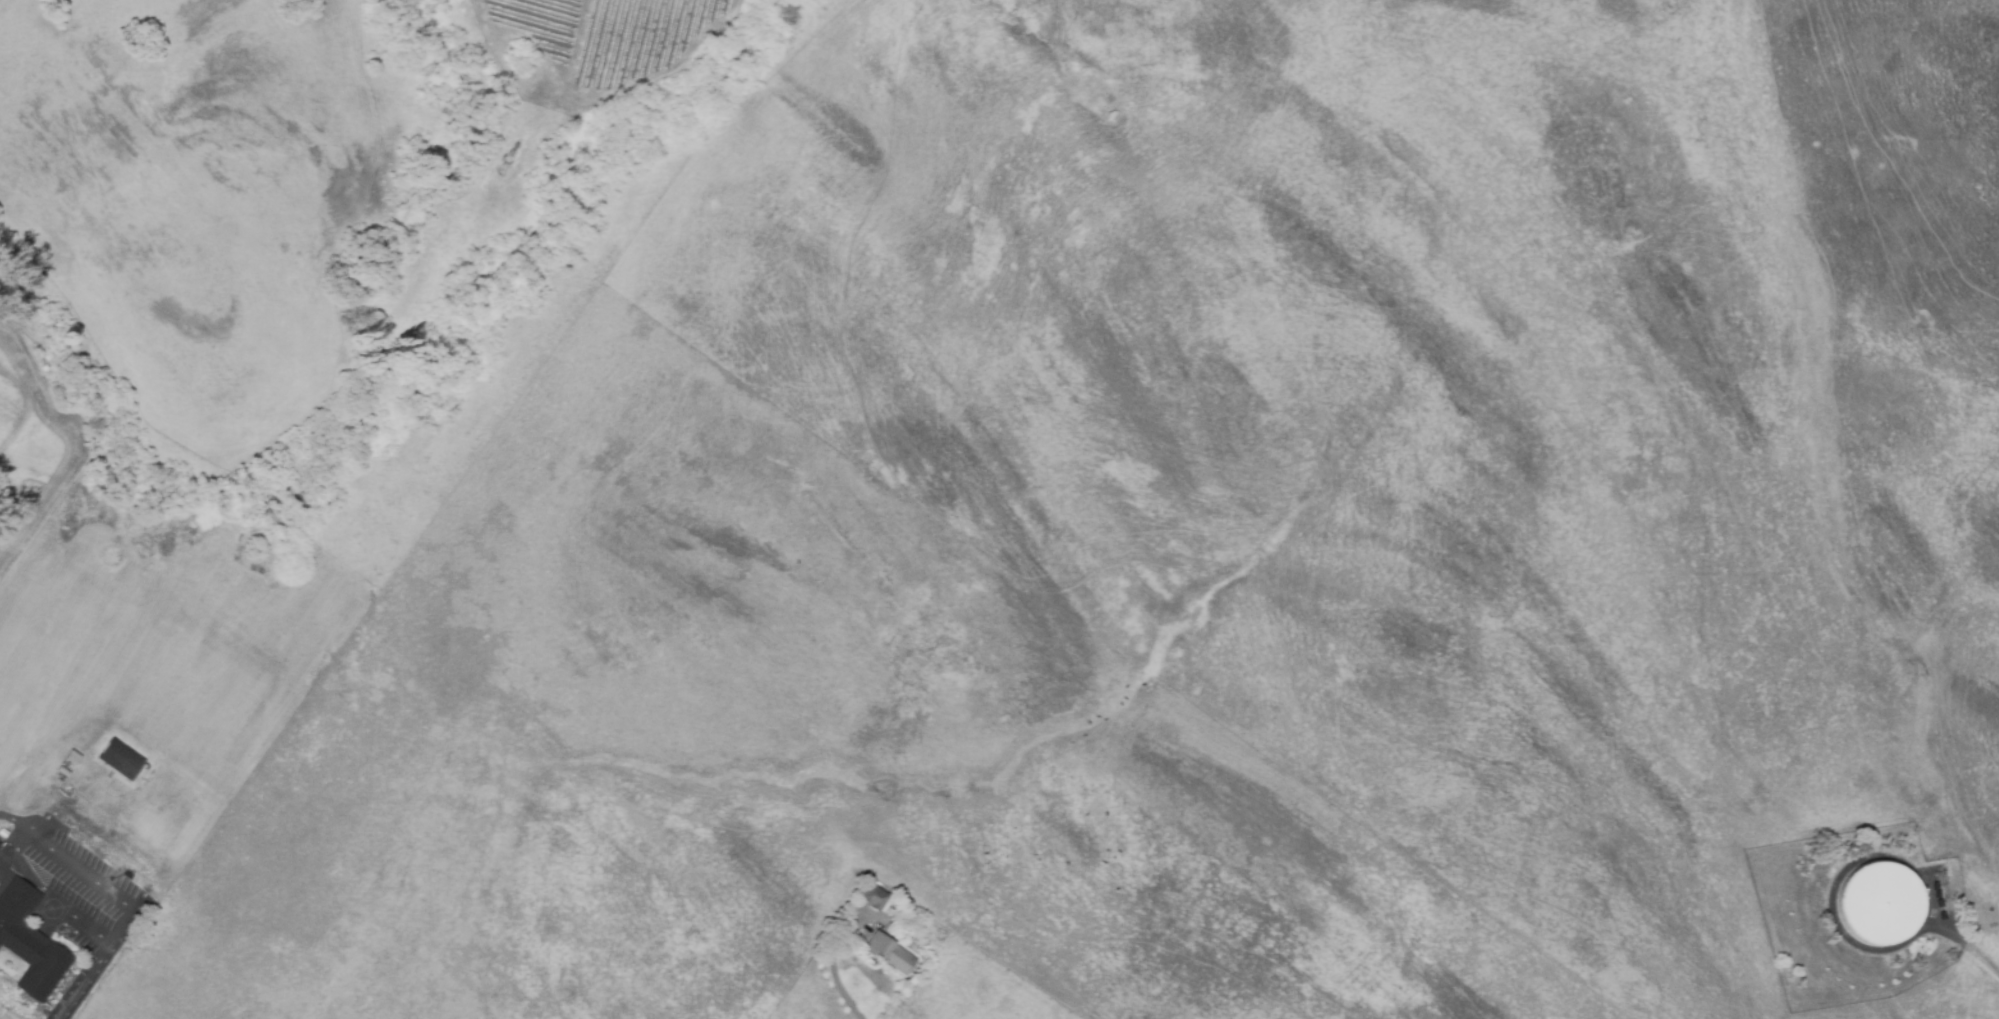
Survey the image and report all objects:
road: (1204, 70)
road: (450, 509)
building: (121, 759)
road: (49, 893)
building: (875, 897)
building: (1881, 900)
road: (120, 902)
building: (30, 943)
road: (1969, 943)
building: (891, 954)
road: (835, 968)

